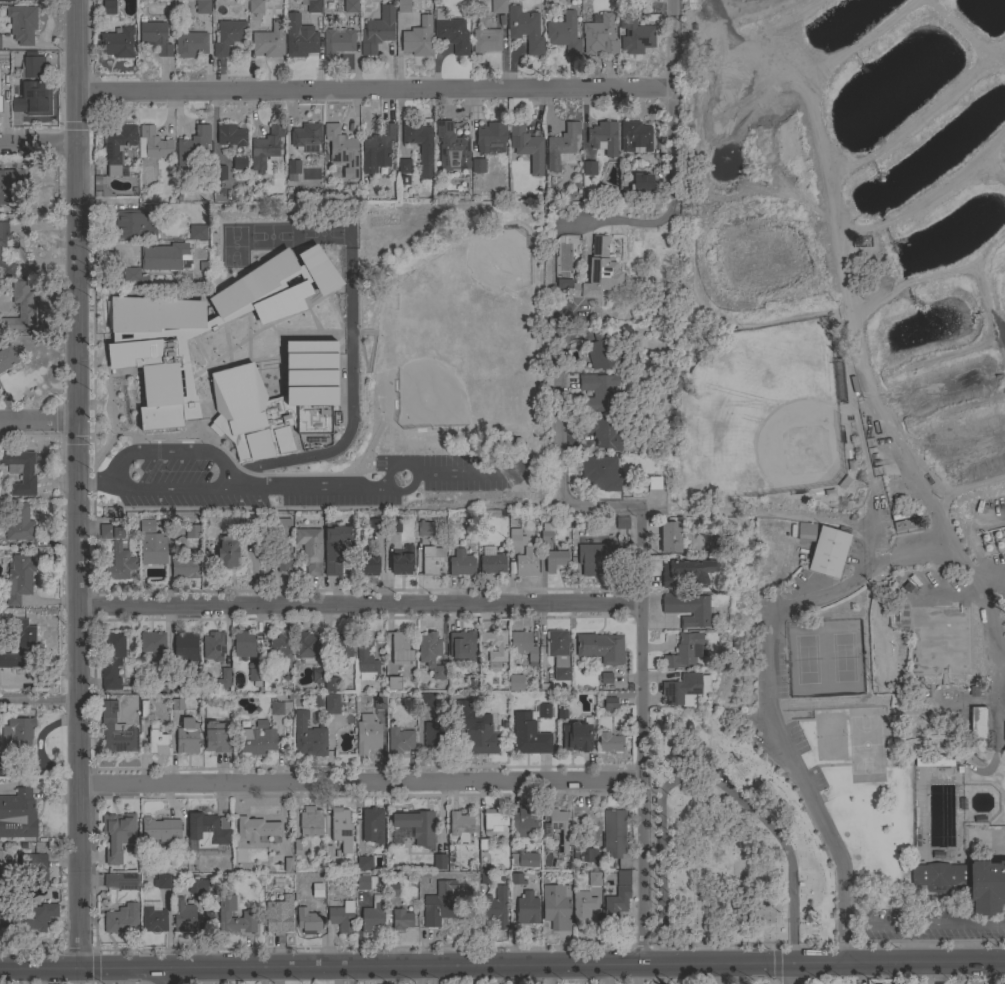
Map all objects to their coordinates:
building: (7, 0)
building: (311, 6)
building: (350, 6)
building: (403, 6)
building: (202, 7)
building: (255, 7)
building: (498, 7)
building: (108, 8)
building: (22, 24)
building: (524, 29)
building: (377, 31)
building: (633, 31)
building: (450, 32)
building: (564, 34)
building: (599, 36)
building: (155, 37)
building: (228, 37)
building: (299, 38)
building: (269, 41)
building: (337, 41)
building: (485, 41)
building: (416, 43)
building: (118, 44)
building: (190, 44)
building: (34, 87)
road: (376, 88)
road: (677, 103)
building: (305, 135)
building: (231, 136)
building: (489, 136)
building: (635, 137)
building: (603, 138)
road: (37, 144)
building: (152, 144)
building: (340, 145)
building: (192, 146)
building: (419, 146)
building: (116, 147)
building: (265, 147)
building: (526, 147)
building: (561, 147)
building: (376, 149)
building: (451, 149)
building: (239, 164)
building: (403, 166)
building: (478, 166)
building: (589, 168)
building: (292, 170)
building: (220, 173)
building: (642, 182)
building: (8, 183)
building: (101, 186)
building: (134, 225)
road: (627, 225)
park: (322, 231)
building: (197, 232)
park: (271, 235)
park: (235, 245)
building: (0, 255)
building: (162, 257)
building: (595, 275)
building: (133, 276)
building: (20, 310)
building: (203, 328)
building: (597, 351)
building: (6, 358)
building: (597, 393)
building: (276, 401)
park: (761, 411)
road: (560, 415)
road: (37, 424)
park: (860, 424)
building: (603, 432)
road: (227, 466)
road: (393, 467)
building: (19, 471)
building: (599, 473)
parking lot: (302, 477)
road: (95, 479)
building: (654, 482)
road: (74, 487)
road: (357, 491)
road: (608, 504)
building: (19, 523)
building: (376, 525)
building: (392, 525)
building: (902, 525)
building: (424, 529)
building: (804, 531)
building: (110, 532)
building: (192, 532)
building: (545, 533)
building: (516, 538)
building: (669, 538)
building: (150, 544)
building: (334, 548)
building: (309, 549)
building: (829, 552)
building: (227, 553)
building: (283, 558)
building: (597, 558)
building: (431, 560)
building: (554, 560)
building: (401, 561)
building: (120, 562)
building: (365, 562)
building: (526, 563)
building: (460, 564)
building: (492, 564)
building: (183, 568)
building: (686, 572)
building: (18, 579)
road: (357, 604)
building: (687, 609)
building: (152, 642)
building: (185, 642)
building: (244, 642)
building: (399, 643)
building: (20, 646)
building: (214, 646)
building: (462, 646)
building: (523, 646)
building: (306, 648)
building: (601, 648)
building: (281, 649)
building: (501, 649)
building: (338, 651)
building: (684, 651)
building: (558, 653)
building: (430, 654)
building: (365, 658)
park: (825, 658)
park: (845, 658)
park: (807, 660)
building: (112, 661)
building: (391, 669)
building: (270, 675)
building: (317, 676)
building: (255, 677)
building: (606, 678)
building: (222, 680)
building: (515, 683)
building: (331, 684)
building: (393, 684)
building: (160, 685)
building: (681, 690)
road: (771, 696)
road: (38, 698)
building: (298, 699)
building: (317, 700)
building: (424, 700)
building: (379, 701)
building: (331, 704)
building: (177, 705)
building: (610, 705)
building: (278, 707)
building: (543, 710)
building: (460, 714)
road: (884, 714)
building: (977, 723)
building: (116, 731)
building: (367, 734)
building: (481, 734)
building: (17, 735)
road: (640, 735)
building: (434, 736)
building: (528, 736)
building: (187, 737)
building: (576, 737)
building: (215, 738)
building: (257, 739)
building: (156, 740)
building: (310, 741)
building: (399, 741)
building: (609, 743)
park: (868, 745)
road: (816, 750)
building: (6, 761)
building: (935, 761)
road: (358, 781)
building: (17, 815)
building: (495, 818)
building: (311, 822)
building: (373, 823)
building: (556, 823)
building: (522, 824)
building: (460, 826)
water park: (946, 826)
building: (416, 827)
building: (255, 829)
building: (341, 829)
building: (160, 830)
building: (206, 831)
building: (118, 836)
building: (615, 837)
park: (728, 839)
building: (362, 853)
building: (583, 856)
building: (0, 859)
building: (524, 860)
building: (439, 862)
building: (363, 864)
building: (285, 865)
building: (33, 870)
building: (939, 876)
building: (594, 878)
building: (517, 879)
building: (120, 881)
building: (162, 882)
building: (365, 882)
building: (197, 886)
building: (986, 886)
building: (316, 890)
building: (392, 890)
road: (872, 901)
building: (615, 903)
building: (439, 904)
building: (495, 906)
building: (556, 907)
building: (582, 907)
building: (4, 909)
building: (526, 909)
building: (248, 914)
building: (279, 915)
building: (183, 916)
building: (374, 916)
building: (153, 917)
building: (342, 917)
building: (34, 918)
building: (307, 919)
building: (121, 920)
building: (401, 920)
road: (925, 924)
parking lot: (928, 926)
road: (502, 968)
road: (792, 975)
road: (168, 979)

